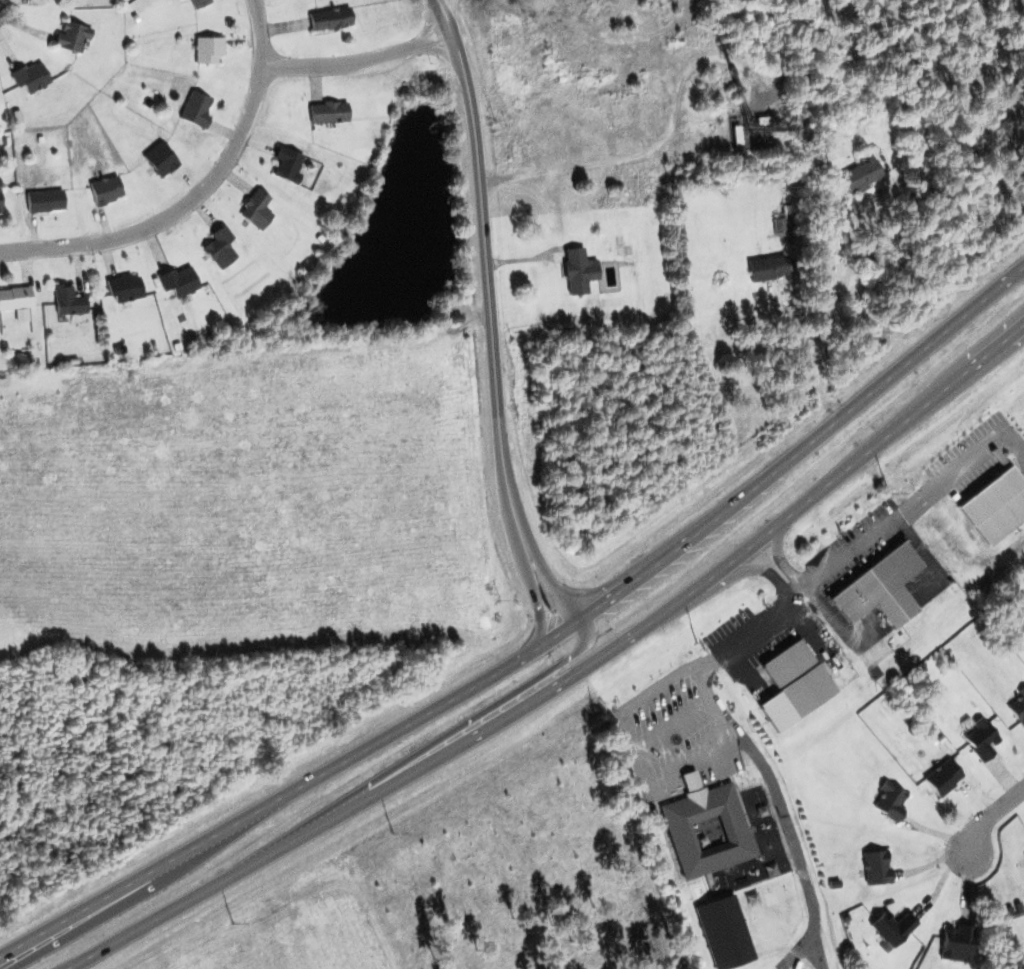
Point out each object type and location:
building: (51, 0)
building: (199, 3)
building: (330, 18)
building: (72, 36)
building: (208, 49)
road: (358, 61)
building: (30, 77)
building: (196, 109)
building: (328, 112)
building: (160, 159)
building: (287, 164)
building: (860, 176)
building: (105, 189)
building: (919, 190)
road: (198, 193)
building: (45, 200)
building: (0, 204)
building: (256, 209)
building: (219, 247)
building: (767, 267)
road: (488, 268)
building: (578, 270)
building: (178, 281)
building: (125, 288)
building: (15, 298)
building: (68, 300)
road: (809, 358)
building: (996, 505)
building: (879, 588)
road: (568, 597)
road: (547, 608)
road: (535, 649)
road: (559, 682)
building: (793, 684)
building: (1018, 707)
building: (981, 739)
building: (943, 777)
building: (890, 800)
road: (988, 817)
building: (705, 828)
building: (876, 867)
building: (890, 927)
building: (723, 932)
crop: (307, 935)
building: (956, 943)

